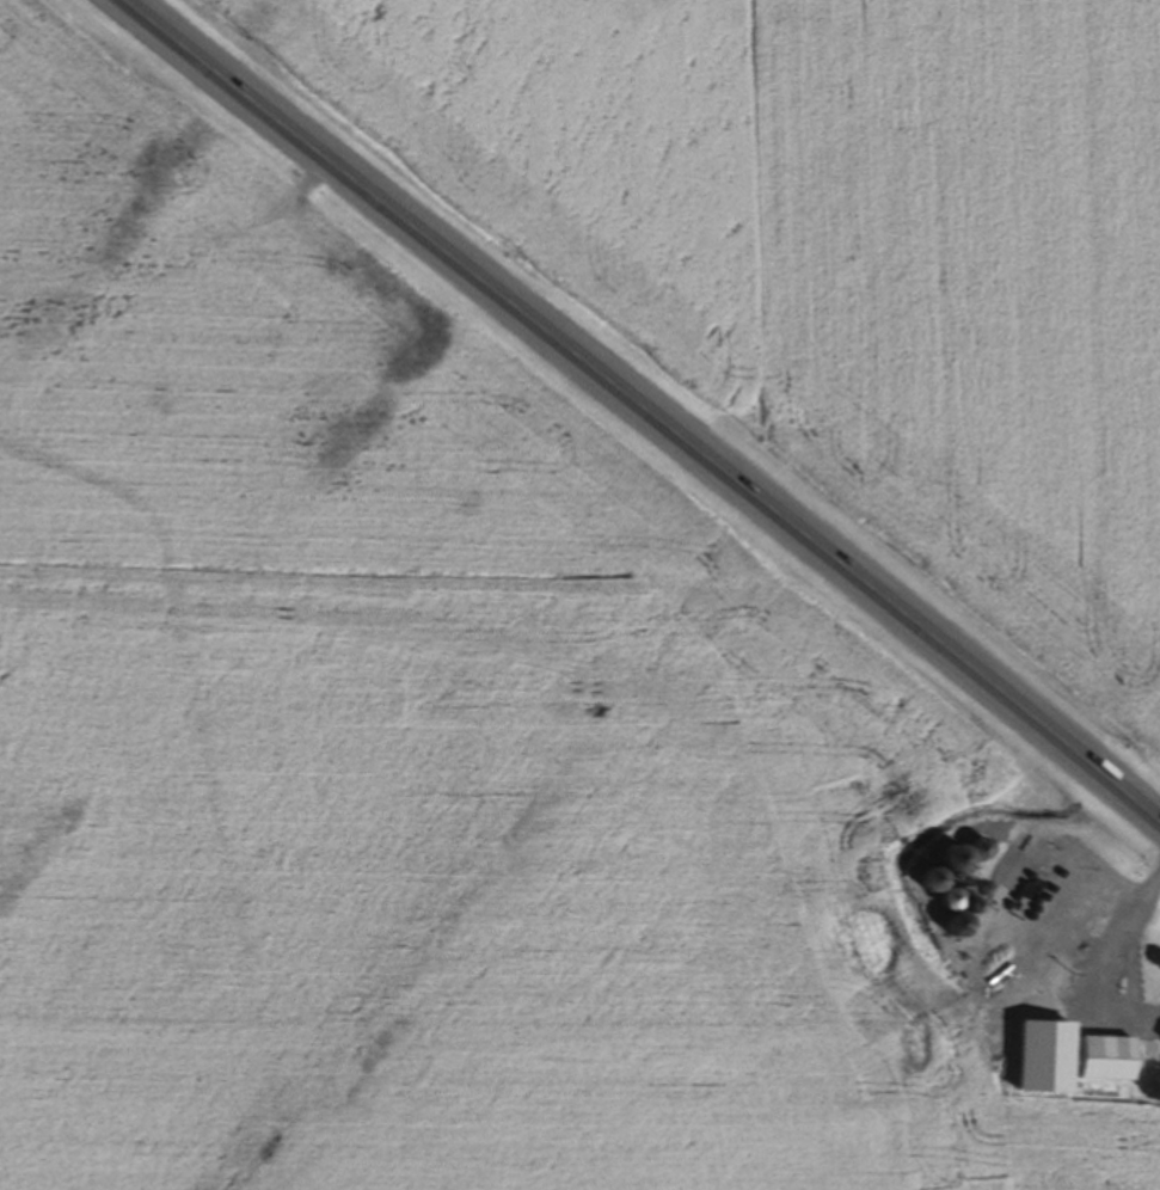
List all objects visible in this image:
road: (642, 421)
building: (976, 853)
road: (1087, 924)
building: (1158, 1042)
building: (1066, 1061)

